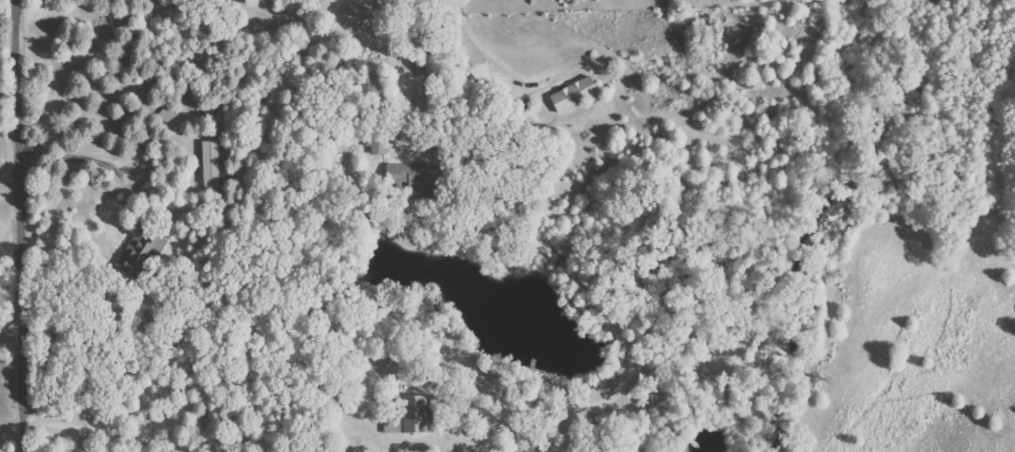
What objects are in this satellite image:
road: (479, 42)
road: (412, 65)
building: (575, 94)
building: (211, 163)
building: (411, 172)
road: (20, 225)
building: (136, 255)
road: (203, 397)
building: (413, 416)

